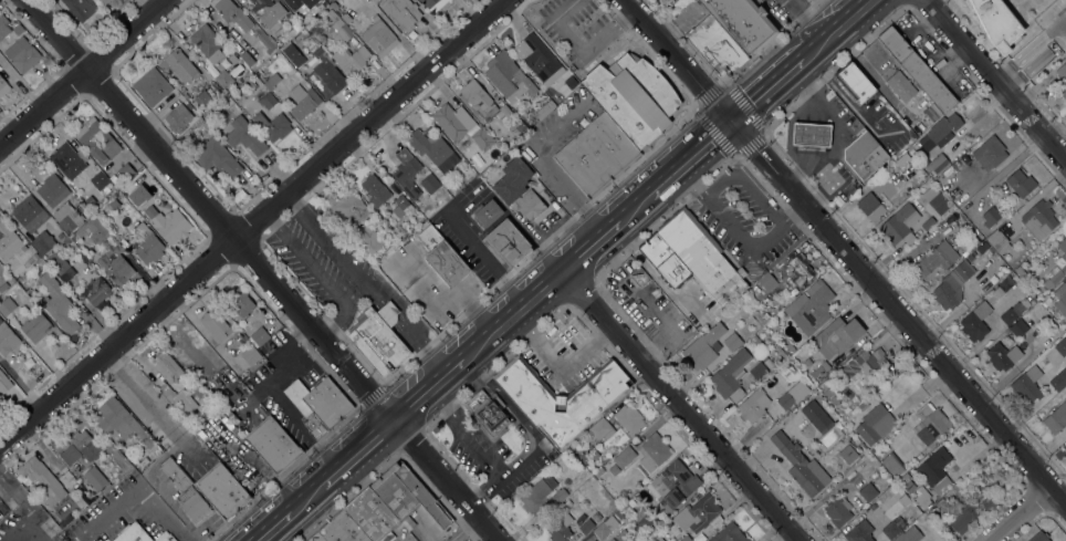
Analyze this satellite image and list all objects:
building: (667, 0)
building: (105, 1)
building: (112, 1)
building: (374, 1)
building: (431, 4)
building: (301, 6)
building: (80, 8)
building: (269, 13)
building: (401, 13)
building: (233, 14)
road: (799, 15)
building: (345, 17)
building: (291, 19)
building: (742, 22)
building: (996, 22)
building: (3, 27)
building: (296, 27)
road: (819, 27)
building: (338, 28)
road: (844, 34)
building: (378, 37)
building: (207, 43)
building: (265, 43)
building: (715, 46)
building: (22, 54)
building: (232, 58)
building: (247, 58)
building: (537, 59)
building: (352, 61)
building: (179, 65)
building: (318, 70)
building: (917, 70)
road: (81, 72)
building: (1062, 72)
building: (508, 77)
building: (223, 79)
road: (996, 79)
building: (271, 81)
building: (569, 82)
building: (854, 82)
building: (3, 86)
building: (151, 86)
building: (900, 86)
road: (764, 91)
building: (1064, 93)
building: (633, 97)
building: (202, 98)
building: (266, 101)
building: (482, 101)
building: (303, 102)
building: (544, 110)
building: (932, 113)
building: (178, 118)
building: (449, 122)
building: (272, 126)
building: (518, 129)
building: (940, 132)
building: (811, 134)
building: (244, 136)
building: (481, 139)
building: (97, 141)
building: (432, 149)
building: (990, 153)
road: (692, 154)
building: (595, 156)
building: (864, 156)
building: (901, 159)
building: (67, 160)
building: (221, 162)
building: (936, 163)
building: (478, 166)
building: (125, 171)
building: (406, 171)
building: (98, 180)
building: (1021, 183)
building: (429, 184)
road: (746, 188)
building: (518, 189)
building: (133, 190)
building: (375, 190)
building: (895, 196)
building: (936, 199)
building: (90, 201)
building: (52, 202)
road: (637, 202)
building: (113, 204)
building: (404, 205)
building: (875, 206)
building: (488, 212)
building: (29, 214)
building: (990, 217)
building: (1038, 219)
building: (354, 220)
road: (252, 223)
building: (928, 223)
building: (170, 226)
building: (900, 226)
road: (735, 233)
building: (9, 241)
building: (997, 241)
building: (42, 242)
building: (508, 242)
building: (147, 245)
road: (591, 245)
building: (1063, 247)
building: (982, 248)
building: (968, 249)
building: (107, 251)
road: (844, 254)
building: (441, 258)
building: (693, 258)
building: (936, 259)
building: (30, 260)
building: (61, 267)
building: (799, 269)
road: (260, 270)
railway: (569, 270)
building: (1022, 273)
road: (317, 274)
building: (639, 278)
building: (1053, 278)
building: (766, 281)
road: (365, 285)
building: (952, 285)
building: (3, 287)
building: (95, 291)
building: (1060, 299)
building: (240, 302)
building: (1046, 302)
building: (58, 303)
building: (7, 305)
building: (811, 306)
building: (1012, 313)
road: (512, 314)
building: (975, 322)
building: (216, 324)
building: (35, 326)
building: (1018, 327)
building: (260, 336)
building: (836, 336)
building: (7, 339)
building: (379, 339)
building: (732, 341)
building: (1062, 346)
building: (788, 348)
building: (701, 351)
building: (1048, 352)
building: (1013, 354)
building: (250, 355)
building: (999, 357)
building: (807, 362)
building: (870, 362)
building: (824, 365)
building: (166, 367)
building: (757, 371)
building: (730, 377)
building: (1058, 379)
building: (4, 382)
building: (1027, 385)
road: (425, 388)
building: (243, 391)
building: (197, 393)
building: (827, 393)
building: (561, 397)
building: (833, 399)
building: (785, 400)
building: (185, 403)
building: (318, 405)
road: (680, 405)
building: (753, 405)
building: (863, 406)
building: (488, 412)
building: (229, 413)
building: (817, 417)
building: (628, 418)
building: (1056, 418)
building: (930, 420)
building: (121, 422)
building: (875, 425)
building: (599, 430)
building: (86, 445)
building: (272, 445)
building: (785, 446)
building: (1065, 449)
road: (356, 450)
building: (654, 451)
building: (69, 454)
building: (847, 454)
building: (624, 457)
building: (891, 465)
building: (614, 469)
building: (808, 475)
building: (933, 476)
building: (95, 478)
building: (903, 478)
building: (42, 480)
building: (673, 485)
road: (135, 490)
building: (185, 491)
building: (222, 491)
building: (868, 491)
road: (14, 492)
building: (536, 493)
road: (306, 495)
building: (407, 495)
building: (558, 496)
building: (922, 497)
building: (566, 503)
building: (626, 506)
building: (837, 511)
building: (972, 512)
building: (697, 513)
building: (369, 514)
building: (618, 514)
road: (1018, 516)
building: (596, 517)
building: (645, 521)
road: (272, 524)
building: (667, 524)
building: (586, 526)
road: (20, 527)
building: (560, 528)
building: (341, 529)
road: (461, 529)
road: (35, 530)
building: (890, 530)
building: (602, 531)
building: (859, 532)
building: (728, 533)
building: (132, 534)
building: (909, 534)
building: (623, 535)
building: (164, 537)
building: (1039, 537)
building: (314, 538)
building: (657, 539)
building: (686, 539)
road: (79, 540)
building: (581, 540)
building: (592, 540)
building: (594, 540)
building: (612, 540)

